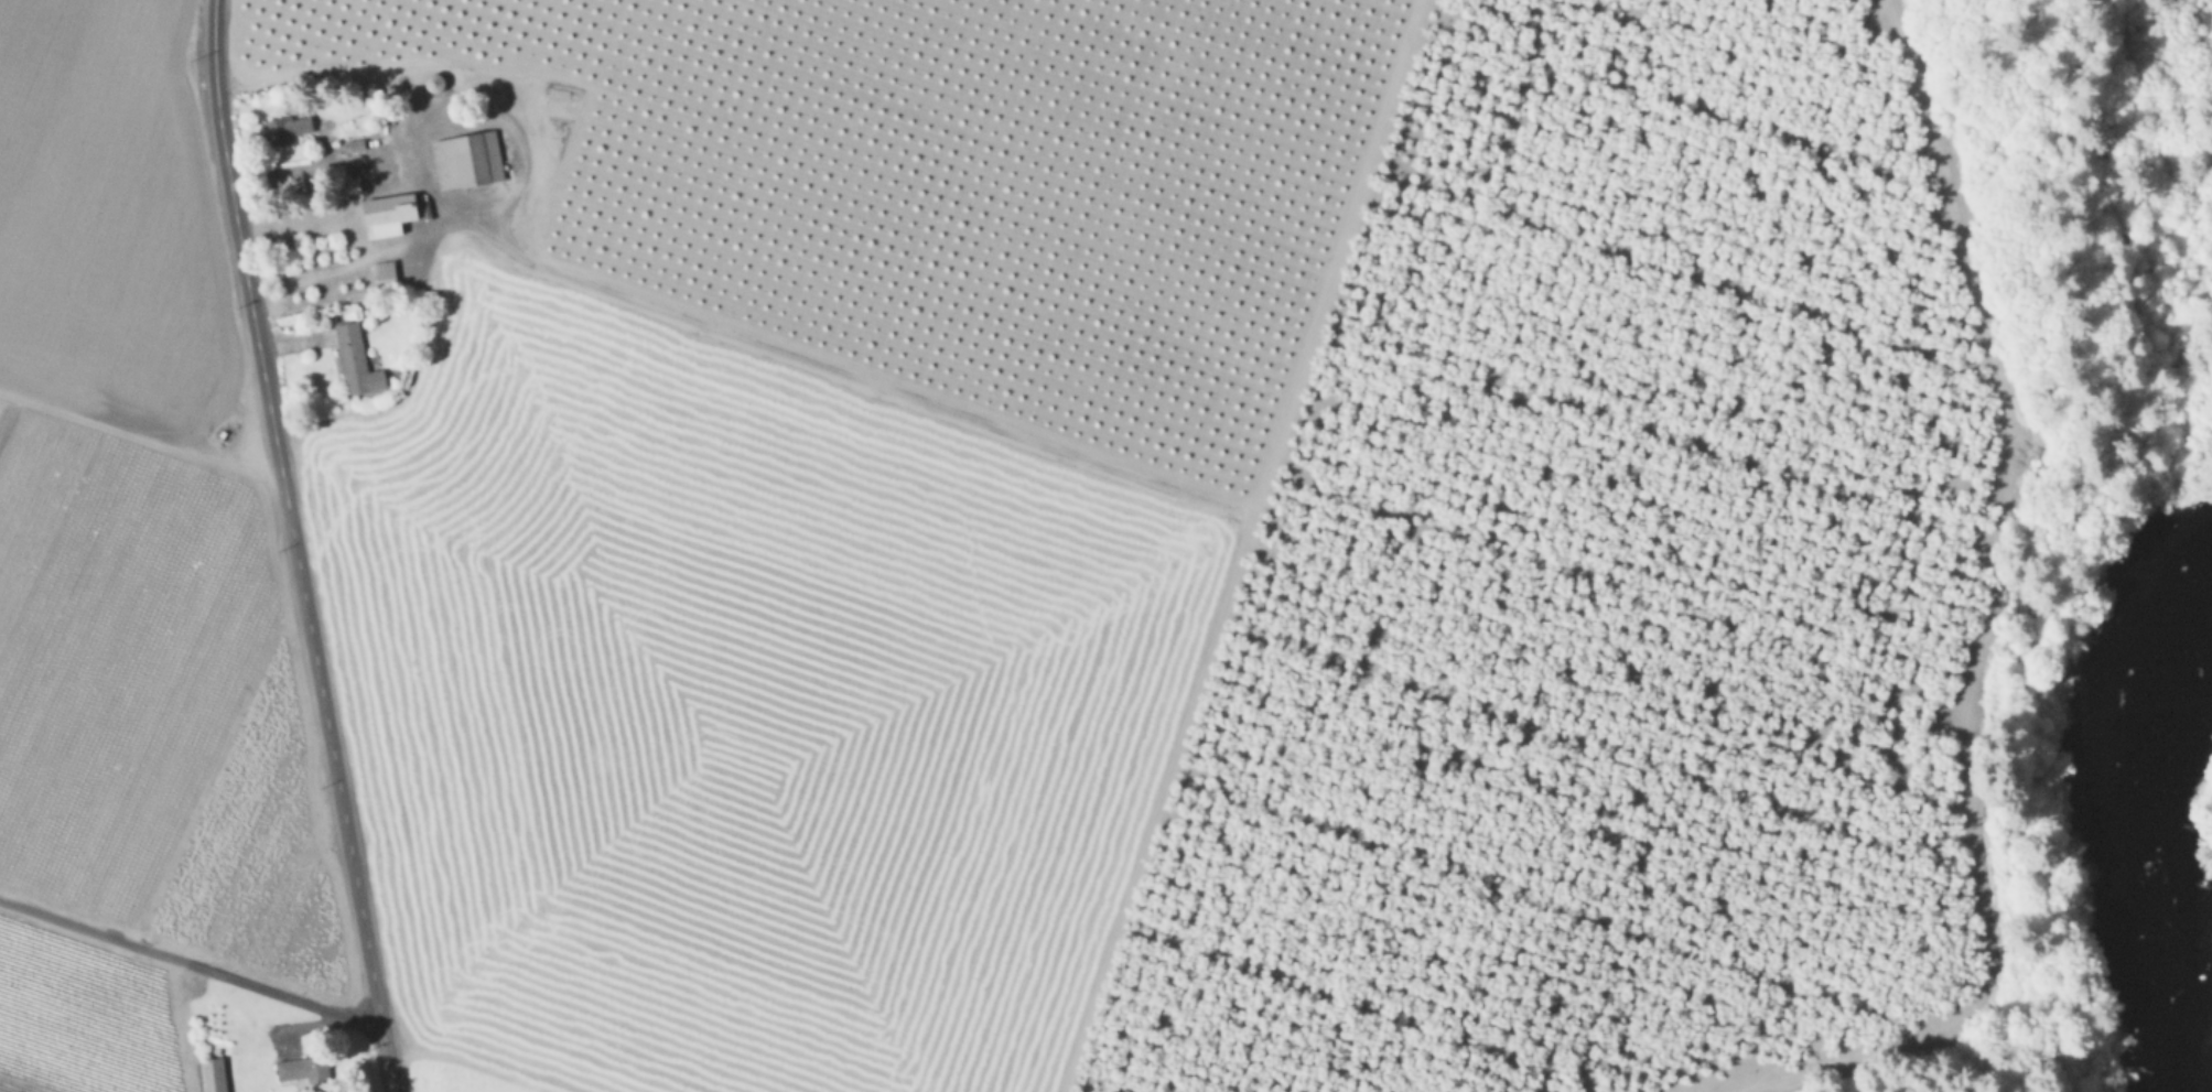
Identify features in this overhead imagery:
building: (287, 130)
building: (465, 159)
building: (386, 214)
building: (382, 273)
building: (354, 360)
crop: (795, 489)
road: (294, 547)
crop: (144, 608)
road: (192, 966)
building: (301, 1069)
building: (212, 1074)

